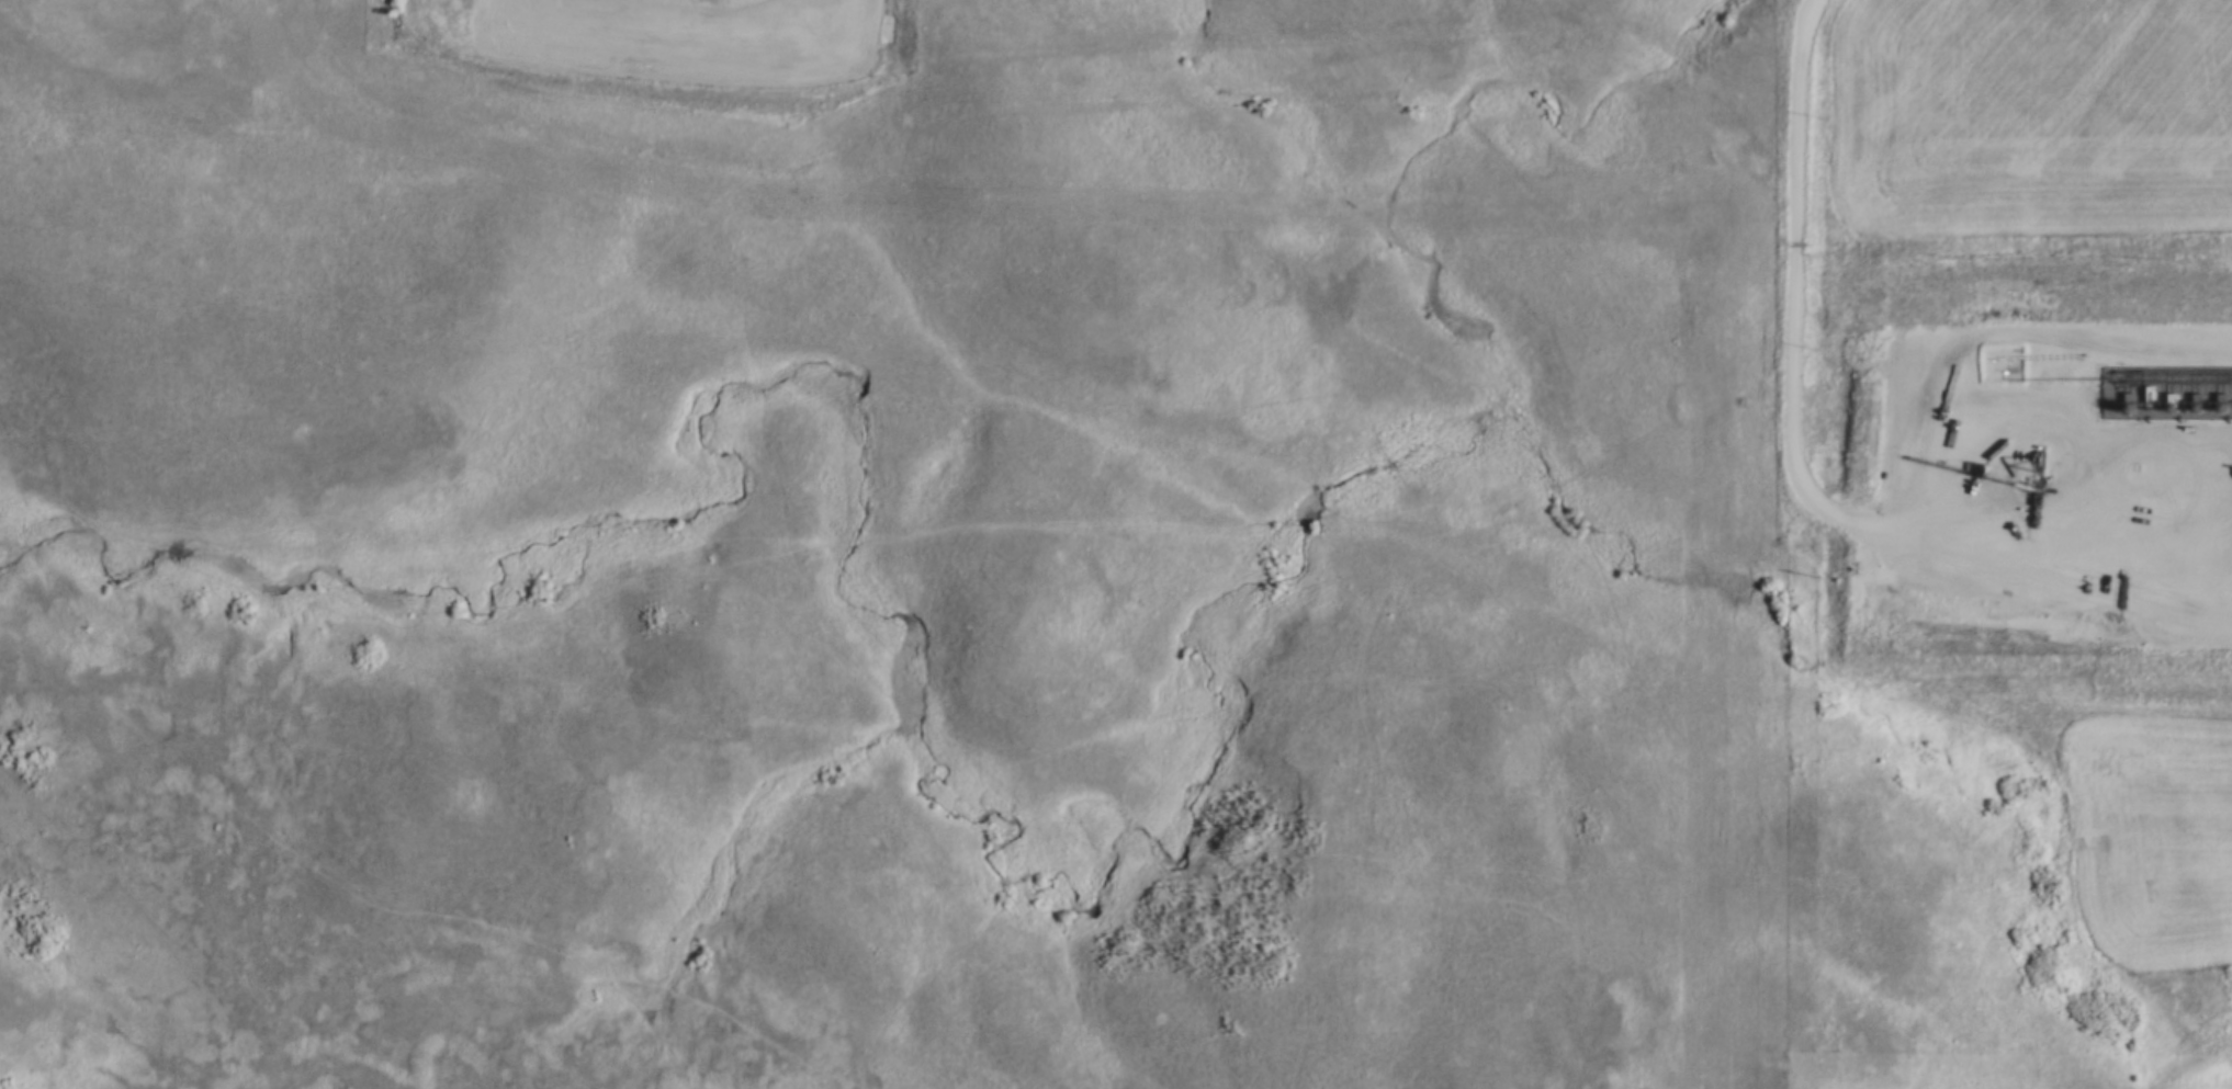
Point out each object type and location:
building: (672, 21)
road: (1796, 422)

